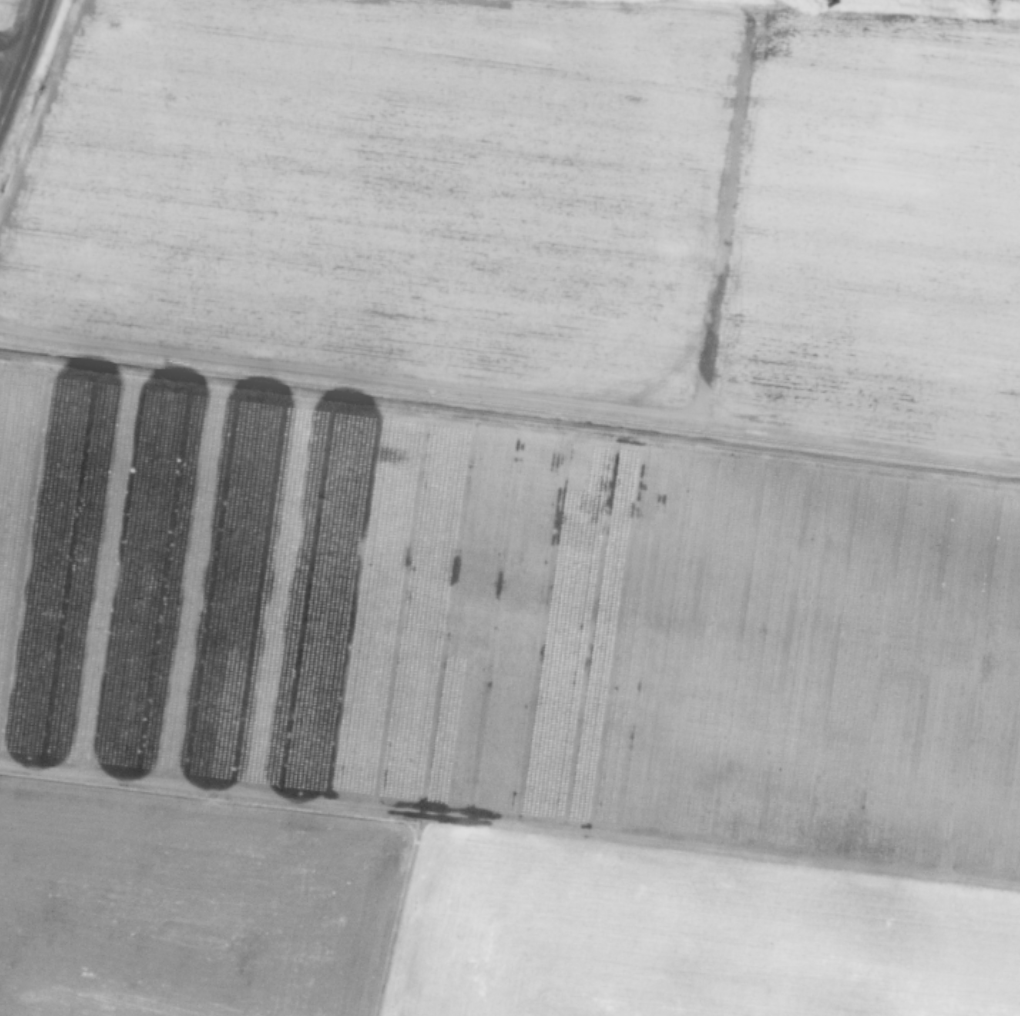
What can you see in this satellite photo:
crop: (5, 15)
road: (23, 60)
road: (4, 95)
road: (509, 416)
crop: (513, 510)

